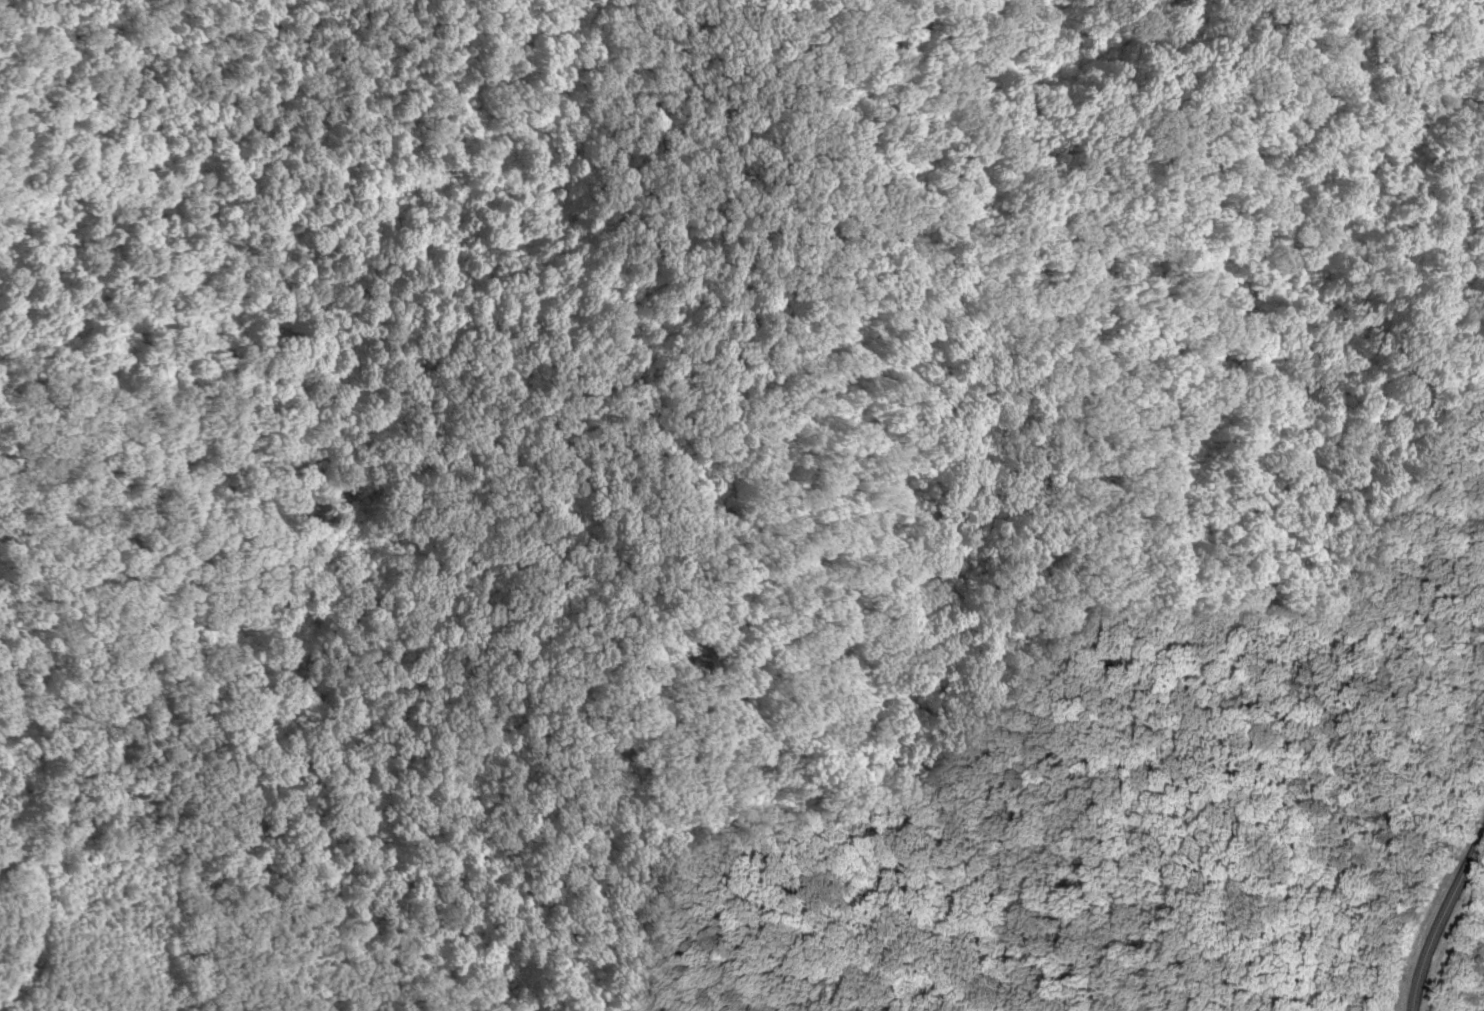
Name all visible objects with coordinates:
road: (1440, 918)

